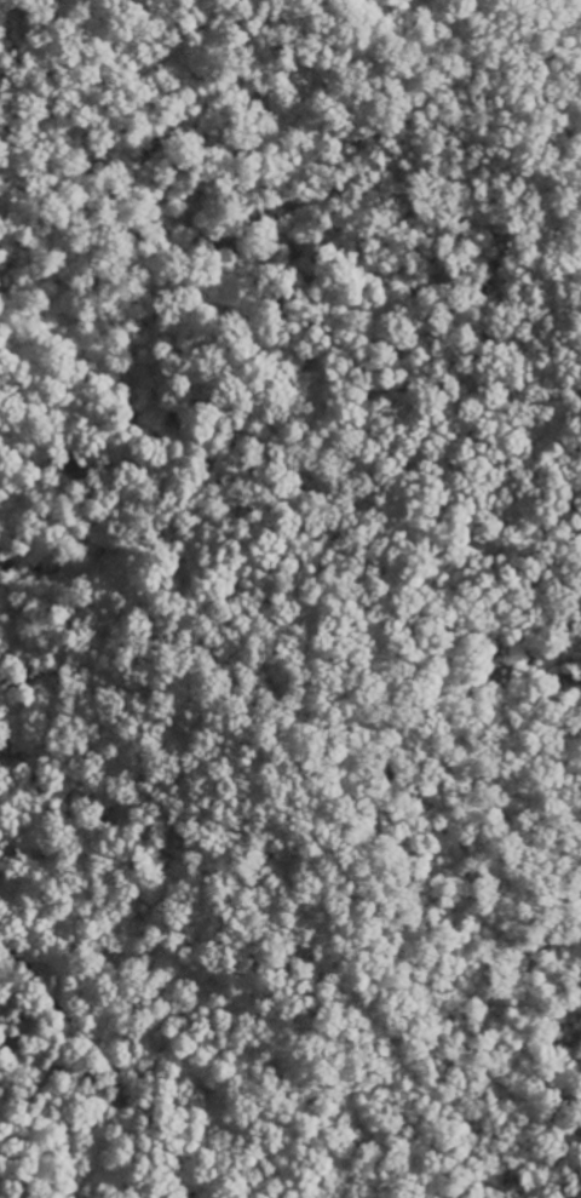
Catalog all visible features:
road: (96, 1053)

